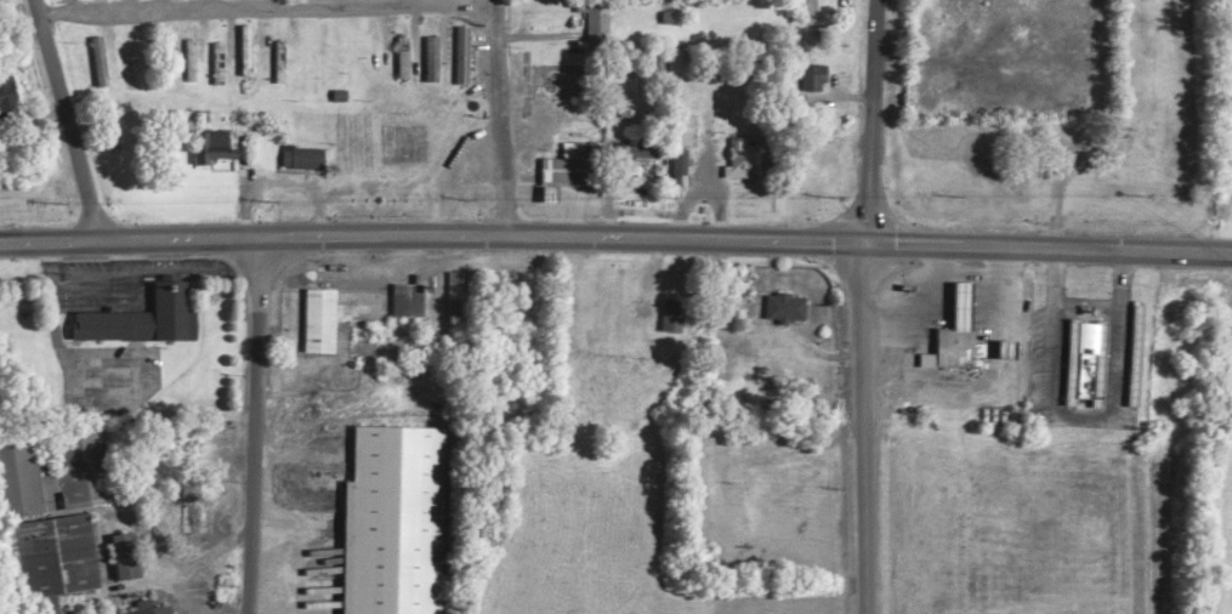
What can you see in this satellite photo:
road: (265, 6)
building: (810, 13)
building: (587, 21)
building: (369, 49)
building: (458, 58)
building: (399, 59)
building: (426, 62)
building: (186, 63)
building: (276, 66)
building: (215, 67)
building: (126, 70)
building: (96, 74)
building: (808, 81)
building: (7, 101)
road: (498, 114)
road: (67, 118)
building: (212, 149)
building: (736, 160)
building: (297, 161)
building: (560, 167)
road: (615, 232)
building: (454, 297)
road: (865, 306)
building: (780, 309)
building: (335, 315)
building: (137, 320)
building: (950, 334)
building: (1080, 364)
road: (1196, 391)
road: (251, 425)
building: (725, 464)
building: (56, 477)
building: (397, 518)
building: (189, 522)
building: (121, 558)
building: (47, 561)
building: (160, 613)

